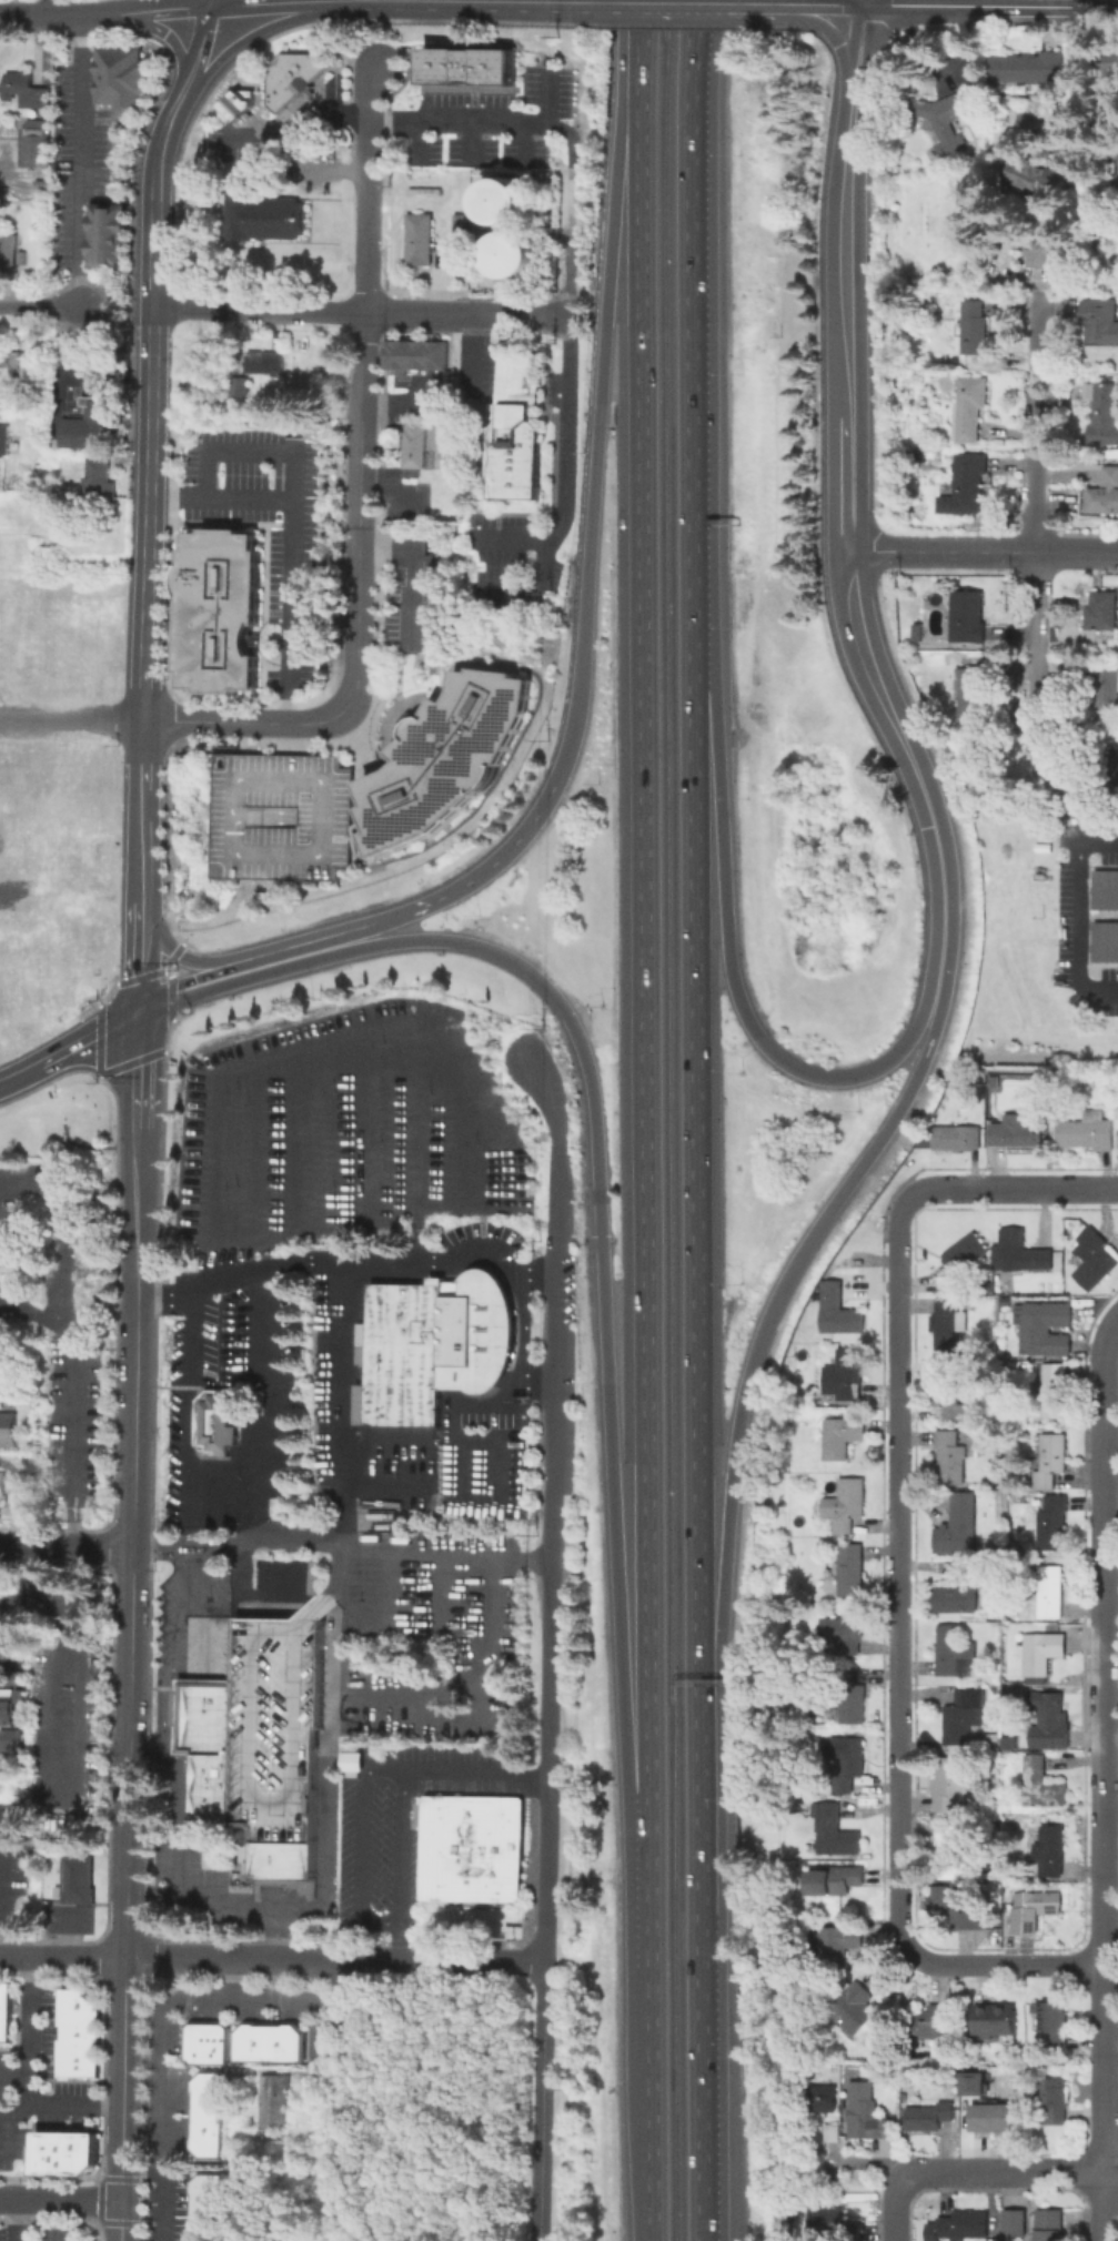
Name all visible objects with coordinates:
road: (284, 1)
road: (311, 1)
road: (459, 1)
road: (614, 2)
road: (867, 2)
road: (210, 3)
road: (717, 3)
road: (248, 4)
road: (796, 4)
road: (835, 4)
road: (991, 7)
road: (51, 8)
road: (795, 9)
road: (169, 10)
road: (64, 17)
road: (835, 40)
road: (201, 49)
building: (1109, 68)
building: (472, 69)
building: (1030, 70)
building: (296, 79)
building: (124, 82)
road: (1075, 85)
building: (27, 92)
building: (240, 107)
road: (316, 111)
road: (479, 119)
building: (947, 119)
road: (161, 142)
building: (37, 145)
road: (77, 160)
building: (1116, 163)
building: (1031, 165)
building: (49, 174)
building: (1116, 175)
building: (43, 183)
road: (364, 185)
building: (505, 203)
water tower: (506, 203)
building: (266, 219)
building: (461, 226)
building: (110, 240)
building: (421, 242)
building: (9, 252)
building: (1047, 252)
road: (154, 254)
building: (514, 258)
water tower: (515, 258)
road: (40, 309)
road: (258, 310)
road: (464, 312)
road: (687, 312)
building: (1100, 325)
building: (975, 330)
road: (567, 340)
road: (470, 349)
building: (416, 355)
building: (8, 360)
building: (268, 363)
road: (362, 369)
road: (152, 371)
road: (108, 372)
building: (241, 392)
road: (598, 394)
building: (971, 408)
building: (1105, 413)
building: (94, 426)
building: (517, 430)
building: (4, 443)
building: (417, 447)
road: (248, 450)
road: (361, 475)
building: (971, 483)
building: (101, 484)
building: (1105, 496)
road: (846, 511)
road: (1037, 529)
road: (291, 539)
road: (981, 553)
road: (417, 565)
road: (538, 569)
road: (148, 577)
building: (216, 610)
building: (1104, 613)
building: (969, 617)
road: (357, 622)
building: (974, 695)
building: (1105, 695)
road: (72, 719)
road: (244, 723)
road: (144, 756)
building: (445, 758)
building: (1114, 773)
road: (1077, 814)
building: (282, 816)
parking lot: (282, 816)
road: (142, 845)
road: (500, 854)
building: (1105, 888)
road: (1078, 913)
road: (336, 932)
building: (1105, 940)
road: (464, 942)
road: (726, 943)
road: (138, 953)
road: (179, 953)
road: (643, 959)
road: (188, 980)
traffic signals: (137, 1010)
road: (88, 1038)
road: (137, 1053)
road: (22, 1074)
road: (2, 1083)
building: (1116, 1118)
building: (1017, 1131)
building: (1088, 1132)
building: (955, 1138)
road: (1011, 1185)
road: (66, 1229)
road: (598, 1229)
traffic signals: (598, 1236)
building: (1019, 1253)
road: (455, 1259)
building: (963, 1259)
building: (1094, 1259)
road: (354, 1289)
building: (1008, 1300)
road: (694, 1302)
building: (838, 1311)
building: (949, 1323)
road: (32, 1324)
building: (1045, 1328)
road: (523, 1340)
building: (435, 1349)
building: (845, 1374)
building: (812, 1389)
building: (1052, 1390)
building: (950, 1394)
building: (213, 1423)
building: (9, 1431)
building: (842, 1437)
building: (983, 1437)
road: (69, 1444)
building: (950, 1457)
building: (1051, 1460)
road: (732, 1464)
building: (2, 1488)
road: (550, 1505)
building: (845, 1505)
building: (1052, 1523)
building: (958, 1526)
road: (340, 1543)
road: (67, 1544)
road: (896, 1558)
building: (847, 1568)
road: (616, 1578)
road: (390, 1585)
road: (439, 1588)
building: (960, 1591)
building: (1051, 1592)
road: (71, 1604)
building: (1016, 1612)
building: (844, 1635)
road: (1102, 1636)
road: (131, 1648)
building: (956, 1654)
building: (1044, 1655)
road: (169, 1677)
road: (349, 1695)
building: (850, 1697)
building: (10, 1706)
building: (963, 1715)
building: (1049, 1717)
building: (12, 1743)
building: (260, 1743)
building: (994, 1743)
building: (1010, 1744)
building: (1014, 1757)
building: (351, 1760)
building: (848, 1764)
road: (73, 1765)
building: (955, 1785)
building: (1041, 1785)
road: (401, 1793)
building: (833, 1833)
road: (359, 1847)
building: (953, 1847)
building: (474, 1851)
building: (1050, 1851)
building: (77, 1879)
building: (835, 1881)
building: (959, 1907)
building: (1035, 1909)
parking lot: (67, 1919)
road: (66, 1932)
building: (839, 1945)
road: (170, 1958)
road: (441, 1960)
road: (995, 1962)
road: (235, 1976)
building: (854, 2009)
road: (338, 2012)
building: (6, 2015)
road: (164, 2020)
building: (996, 2022)
building: (936, 2025)
building: (1054, 2025)
road: (27, 2029)
building: (81, 2037)
building: (268, 2042)
building: (205, 2043)
road: (649, 2080)
building: (971, 2082)
building: (904, 2098)
road: (540, 2100)
building: (824, 2100)
building: (1055, 2100)
building: (965, 2101)
road: (1101, 2102)
road: (61, 2103)
building: (276, 2106)
road: (699, 2110)
road: (16, 2112)
building: (866, 2114)
building: (209, 2116)
building: (995, 2116)
building: (929, 2117)
road: (2, 2122)
building: (833, 2134)
road: (4, 2139)
road: (333, 2154)
building: (69, 2156)
road: (865, 2161)
road: (1109, 2169)
road: (1001, 2170)
road: (60, 2199)
road: (892, 2204)
road: (164, 2207)
building: (209, 2209)
road: (20, 2220)
road: (122, 2220)
building: (1016, 2222)
building: (834, 2223)
building: (965, 2224)
building: (1049, 2227)

